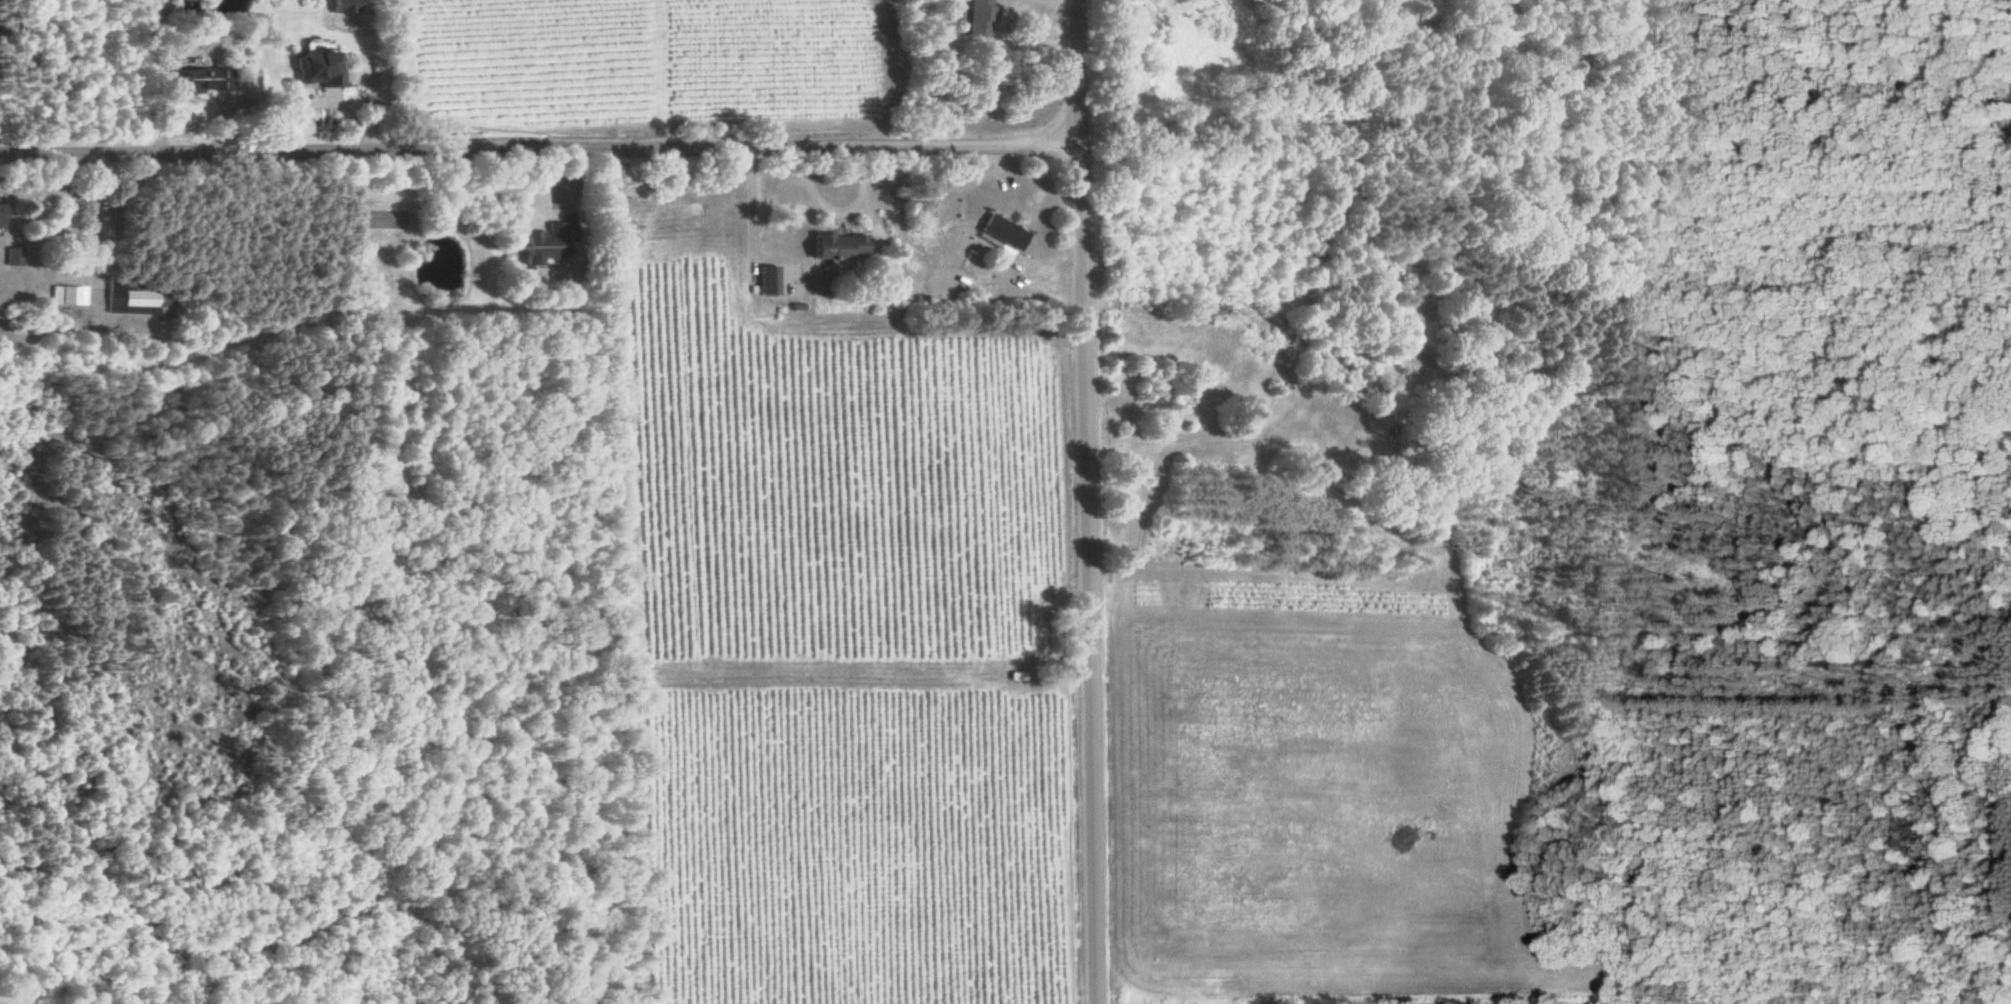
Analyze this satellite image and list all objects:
building: (344, 6)
building: (979, 18)
building: (315, 69)
building: (201, 80)
road: (543, 150)
road: (842, 209)
building: (1, 212)
building: (1001, 232)
building: (542, 244)
building: (835, 246)
building: (14, 256)
building: (767, 279)
building: (70, 295)
road: (1090, 501)

